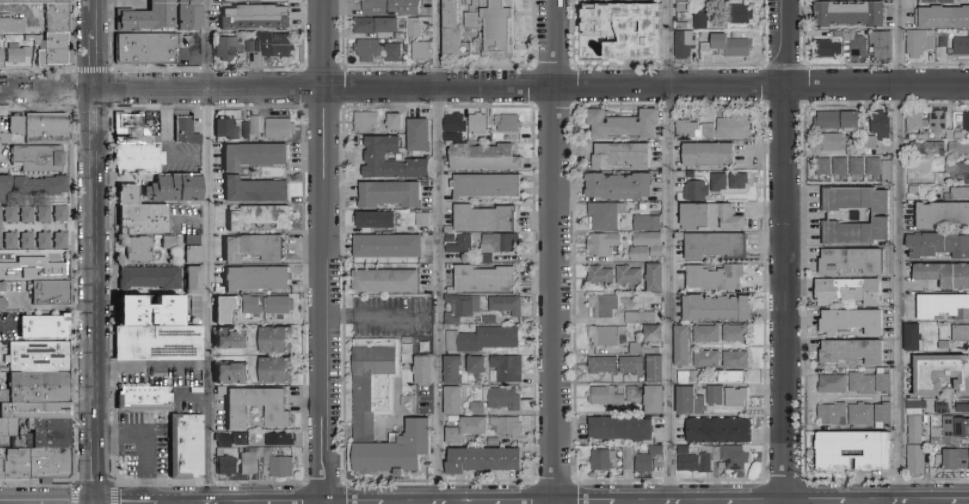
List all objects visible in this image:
building: (688, 0)
building: (236, 1)
building: (258, 1)
building: (681, 6)
building: (393, 8)
building: (50, 13)
building: (741, 14)
building: (849, 14)
road: (95, 16)
building: (164, 17)
building: (942, 17)
building: (257, 19)
building: (702, 19)
building: (493, 24)
building: (377, 26)
building: (13, 27)
building: (418, 27)
building: (683, 27)
building: (623, 28)
building: (455, 32)
building: (37, 41)
building: (880, 43)
building: (918, 43)
building: (854, 44)
building: (686, 45)
building: (960, 45)
building: (0, 46)
building: (276, 46)
building: (729, 47)
building: (252, 48)
building: (827, 48)
building: (228, 49)
building: (148, 50)
building: (370, 50)
building: (56, 51)
building: (422, 51)
building: (394, 53)
building: (19, 55)
building: (2, 57)
road: (195, 58)
road: (96, 61)
road: (484, 89)
building: (836, 118)
building: (937, 120)
road: (97, 121)
building: (916, 121)
building: (965, 121)
building: (367, 122)
building: (396, 123)
building: (880, 123)
building: (456, 124)
building: (510, 124)
building: (18, 125)
building: (625, 125)
building: (257, 126)
building: (244, 128)
building: (481, 128)
building: (698, 128)
building: (49, 129)
building: (137, 129)
building: (228, 129)
building: (282, 129)
building: (248, 130)
building: (187, 131)
building: (421, 136)
building: (5, 138)
building: (455, 138)
building: (834, 141)
building: (958, 147)
building: (711, 155)
building: (256, 156)
building: (624, 156)
building: (377, 157)
building: (487, 158)
building: (40, 159)
building: (139, 159)
building: (822, 165)
building: (839, 165)
building: (856, 165)
building: (872, 165)
building: (956, 169)
building: (684, 176)
building: (740, 181)
building: (720, 183)
building: (43, 186)
building: (5, 187)
building: (488, 187)
building: (620, 187)
building: (176, 189)
building: (256, 190)
building: (698, 192)
building: (959, 192)
building: (392, 195)
building: (941, 212)
building: (141, 214)
building: (12, 215)
building: (29, 215)
building: (45, 215)
building: (62, 215)
building: (608, 216)
building: (260, 217)
building: (714, 217)
building: (879, 217)
building: (487, 219)
building: (373, 221)
building: (424, 221)
building: (648, 223)
building: (0, 228)
building: (404, 229)
building: (451, 230)
building: (681, 237)
building: (452, 239)
building: (28, 240)
building: (45, 240)
building: (62, 240)
building: (194, 240)
building: (649, 240)
building: (12, 241)
building: (171, 242)
building: (503, 244)
building: (938, 244)
building: (604, 245)
building: (463, 246)
building: (390, 247)
building: (718, 247)
building: (256, 248)
building: (139, 250)
road: (438, 251)
road: (669, 251)
road: (208, 252)
road: (325, 252)
road: (555, 252)
road: (786, 252)
road: (902, 252)
building: (646, 254)
building: (195, 255)
building: (489, 259)
building: (850, 259)
building: (33, 269)
building: (944, 273)
building: (603, 277)
building: (631, 277)
building: (151, 278)
building: (259, 279)
building: (657, 279)
building: (717, 279)
building: (487, 280)
building: (195, 281)
building: (388, 282)
building: (3, 288)
building: (848, 290)
building: (54, 293)
road: (97, 296)
building: (3, 305)
building: (254, 305)
building: (942, 305)
building: (281, 306)
building: (465, 306)
building: (508, 306)
building: (606, 307)
building: (227, 309)
building: (719, 310)
road: (381, 316)
building: (642, 319)
building: (852, 319)
building: (452, 320)
building: (491, 320)
building: (47, 327)
building: (156, 331)
building: (960, 332)
building: (737, 334)
building: (655, 335)
building: (708, 335)
building: (911, 336)
building: (610, 337)
building: (234, 339)
building: (485, 340)
building: (279, 341)
building: (684, 346)
building: (426, 348)
building: (410, 349)
building: (644, 350)
building: (852, 350)
building: (41, 360)
building: (708, 360)
building: (737, 360)
building: (409, 362)
building: (478, 366)
building: (604, 366)
building: (634, 366)
building: (508, 370)
building: (657, 371)
building: (278, 372)
building: (455, 372)
building: (940, 372)
building: (234, 375)
building: (425, 376)
building: (689, 378)
building: (731, 378)
building: (831, 382)
building: (869, 382)
building: (37, 391)
building: (222, 391)
building: (3, 394)
building: (636, 396)
building: (717, 396)
building: (608, 397)
building: (738, 398)
building: (145, 399)
building: (503, 399)
building: (656, 401)
building: (455, 402)
building: (692, 402)
building: (913, 406)
building: (941, 406)
building: (962, 406)
building: (479, 409)
building: (239, 410)
building: (882, 411)
building: (831, 412)
building: (35, 413)
building: (859, 413)
building: (383, 414)
building: (508, 427)
building: (914, 428)
building: (623, 430)
building: (950, 430)
building: (468, 431)
building: (721, 432)
building: (37, 436)
building: (243, 438)
building: (280, 440)
building: (226, 441)
building: (494, 443)
road: (147, 445)
building: (187, 447)
building: (852, 448)
building: (685, 451)
building: (657, 452)
building: (718, 456)
building: (737, 458)
building: (955, 458)
building: (914, 459)
building: (612, 460)
building: (485, 461)
building: (250, 463)
building: (698, 463)
building: (277, 464)
building: (645, 465)
building: (51, 467)
building: (228, 467)
building: (2, 468)
building: (18, 470)
road: (98, 472)
road: (557, 501)
road: (440, 503)

